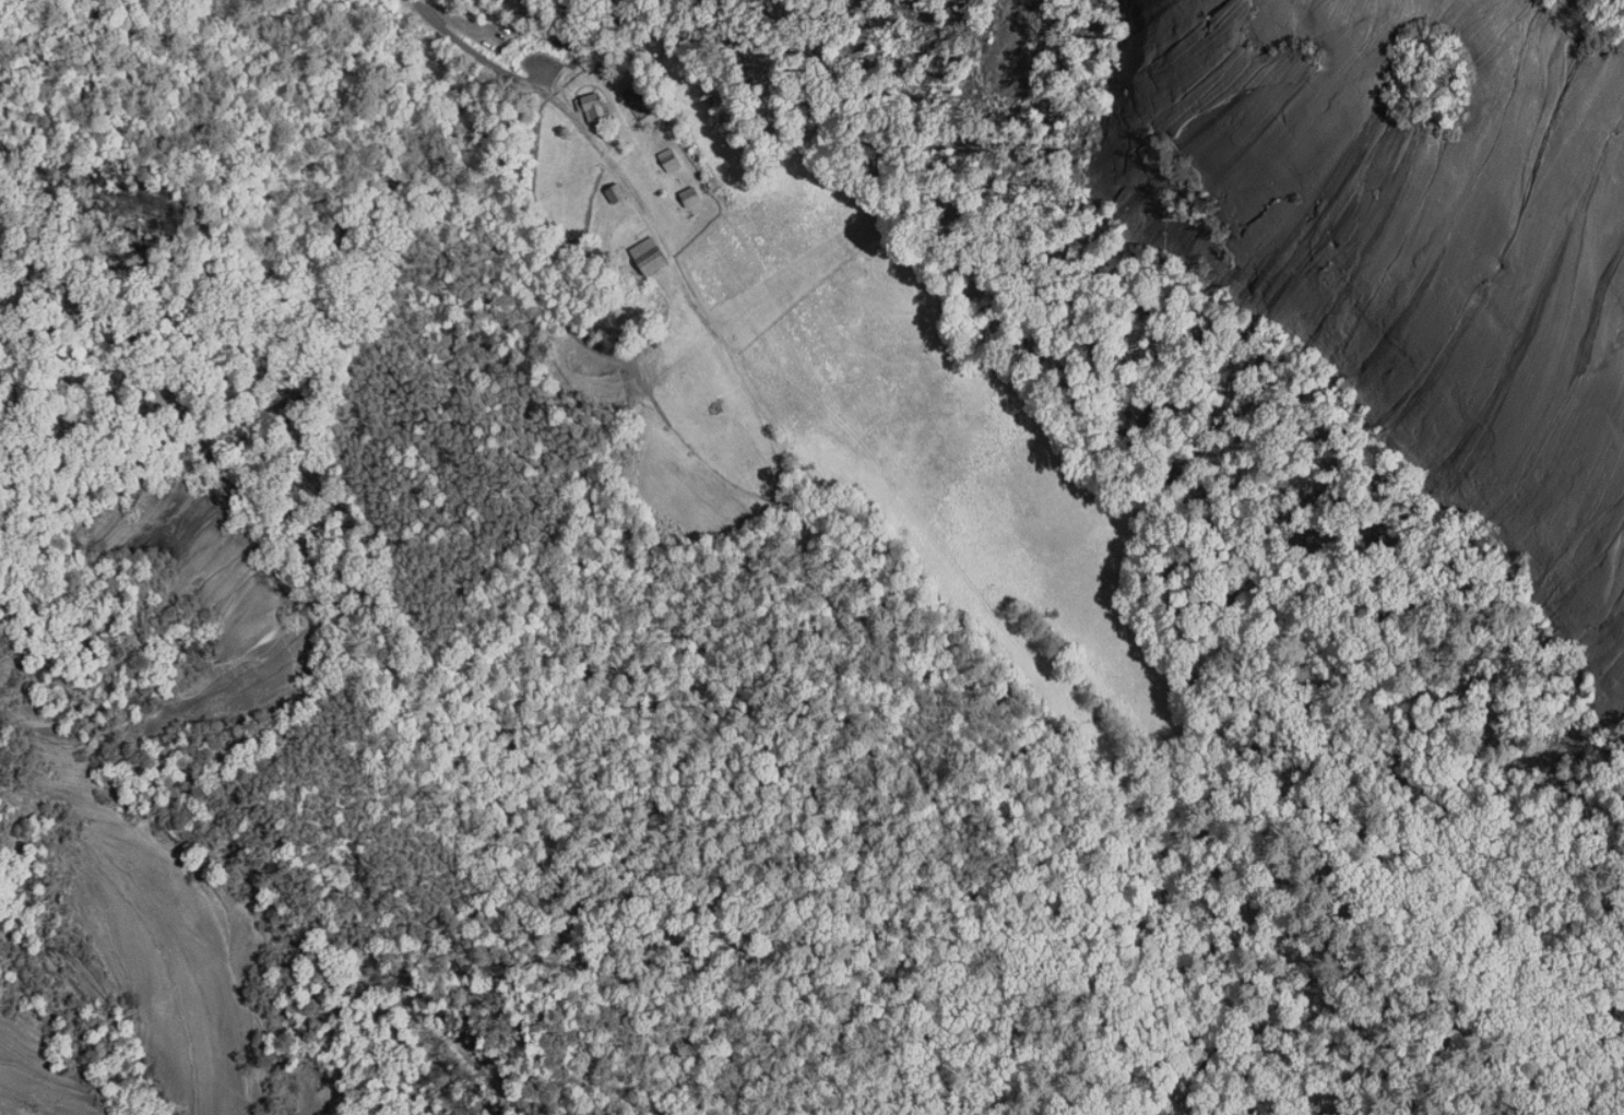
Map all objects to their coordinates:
road: (419, 4)
parking lot: (505, 50)
road: (486, 57)
building: (592, 105)
road: (582, 124)
road: (364, 141)
building: (669, 157)
building: (616, 190)
building: (690, 194)
road: (592, 200)
road: (643, 204)
building: (649, 253)
road: (565, 259)
building: (662, 271)
road: (548, 282)
road: (740, 375)
road: (659, 405)
road: (793, 512)
road: (1054, 752)
road: (278, 869)
road: (932, 880)
road: (1219, 1064)
road: (1264, 1088)

